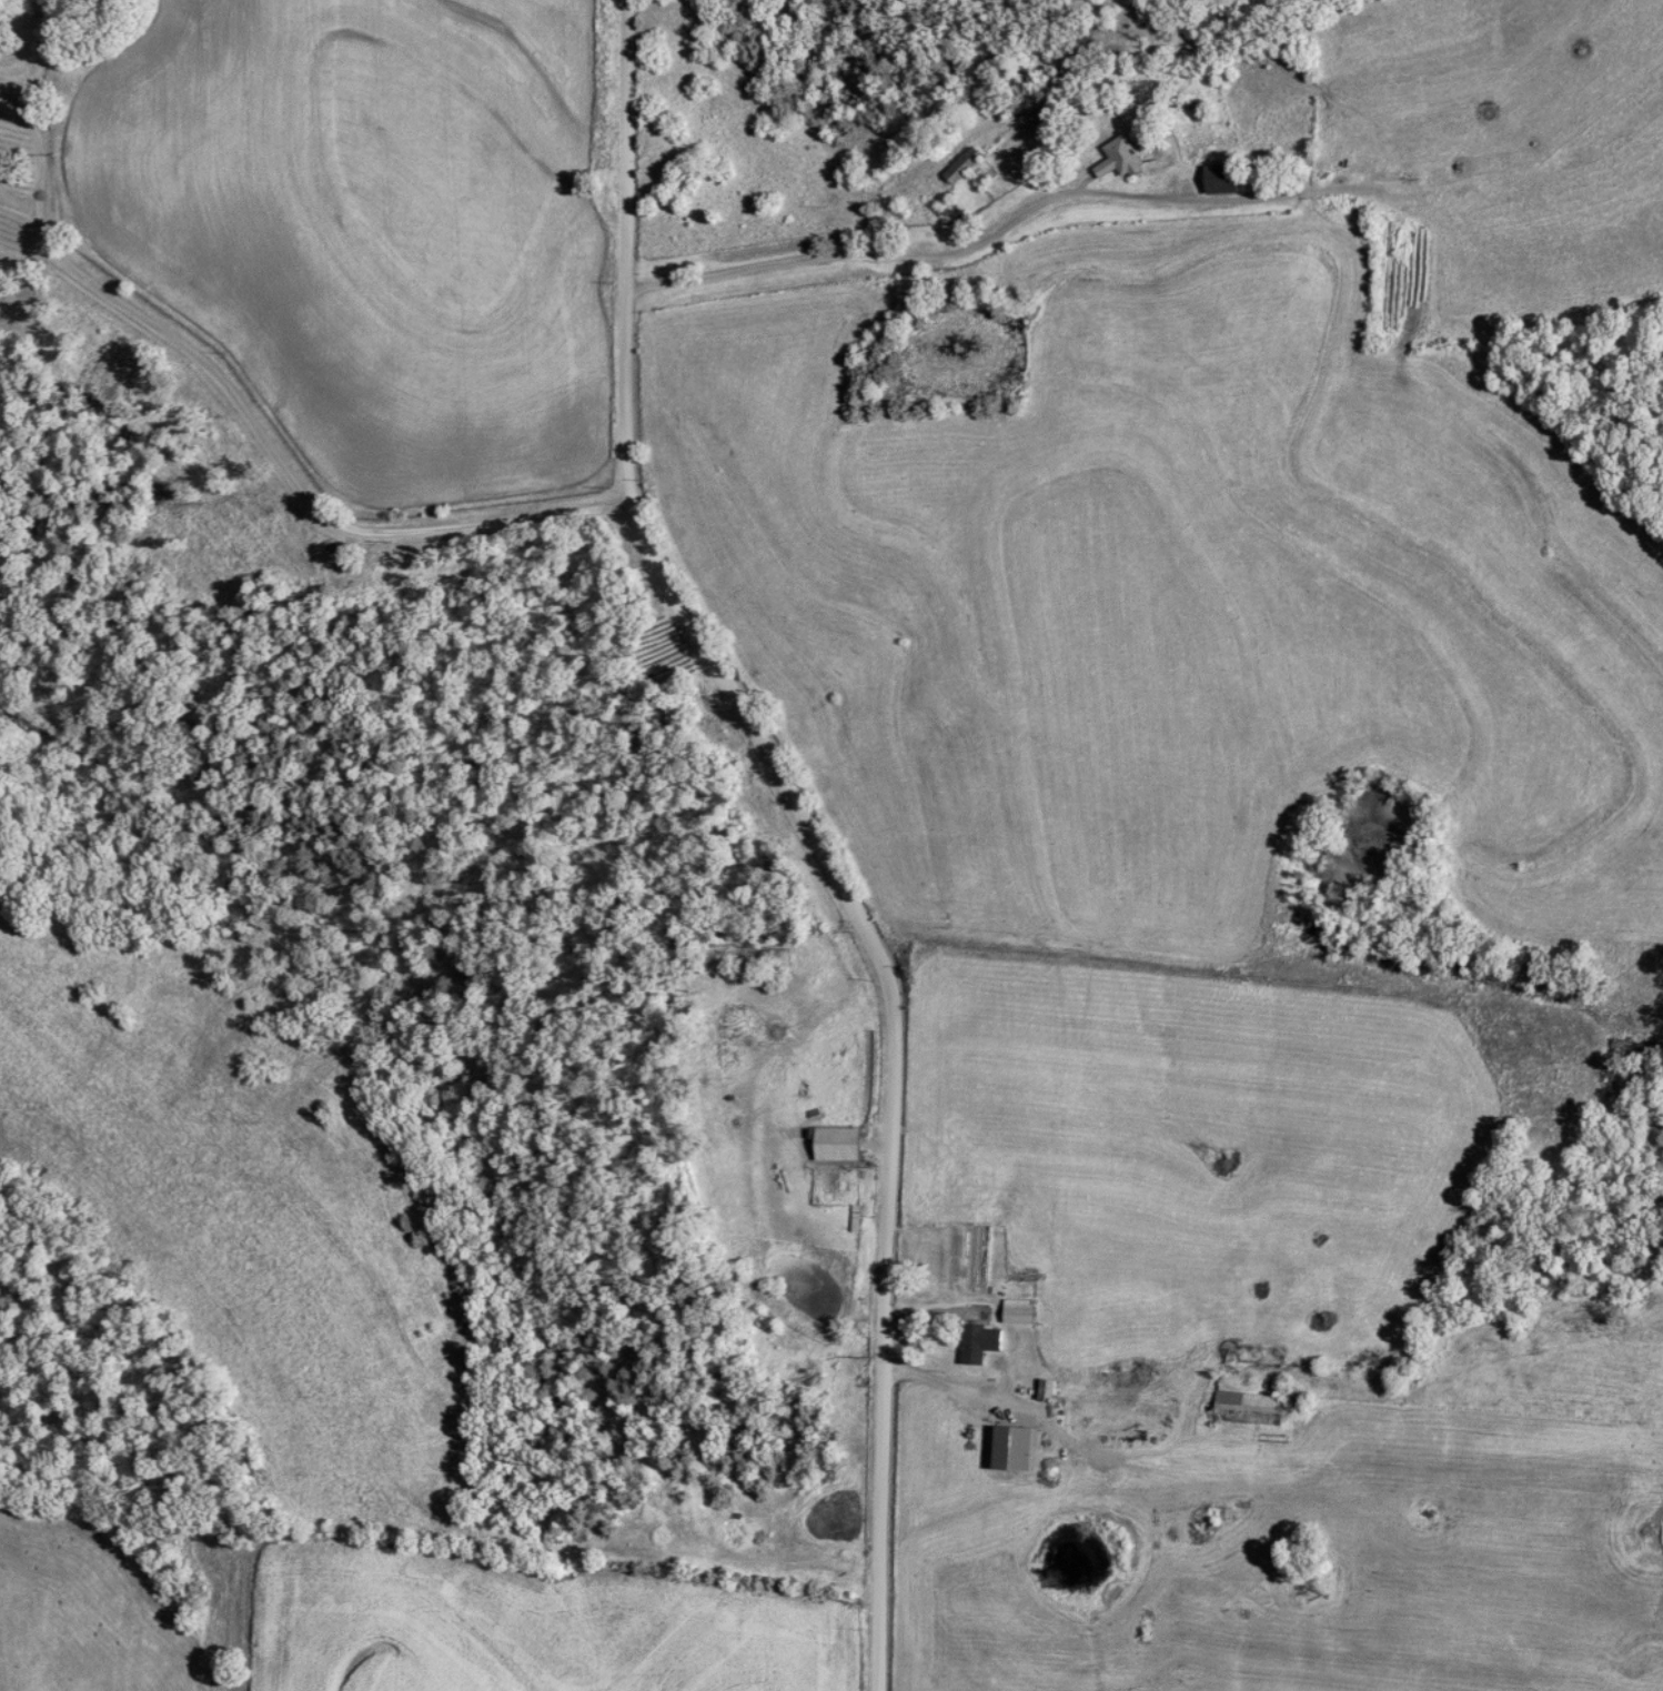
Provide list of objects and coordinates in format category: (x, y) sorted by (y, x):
building: (1121, 160)
building: (964, 165)
building: (1224, 180)
building: (1341, 204)
road: (966, 248)
road: (246, 417)
road: (808, 831)
building: (839, 1145)
building: (1021, 1311)
building: (727, 1325)
building: (982, 1342)
building: (1042, 1391)
building: (1243, 1402)
building: (1145, 1413)

